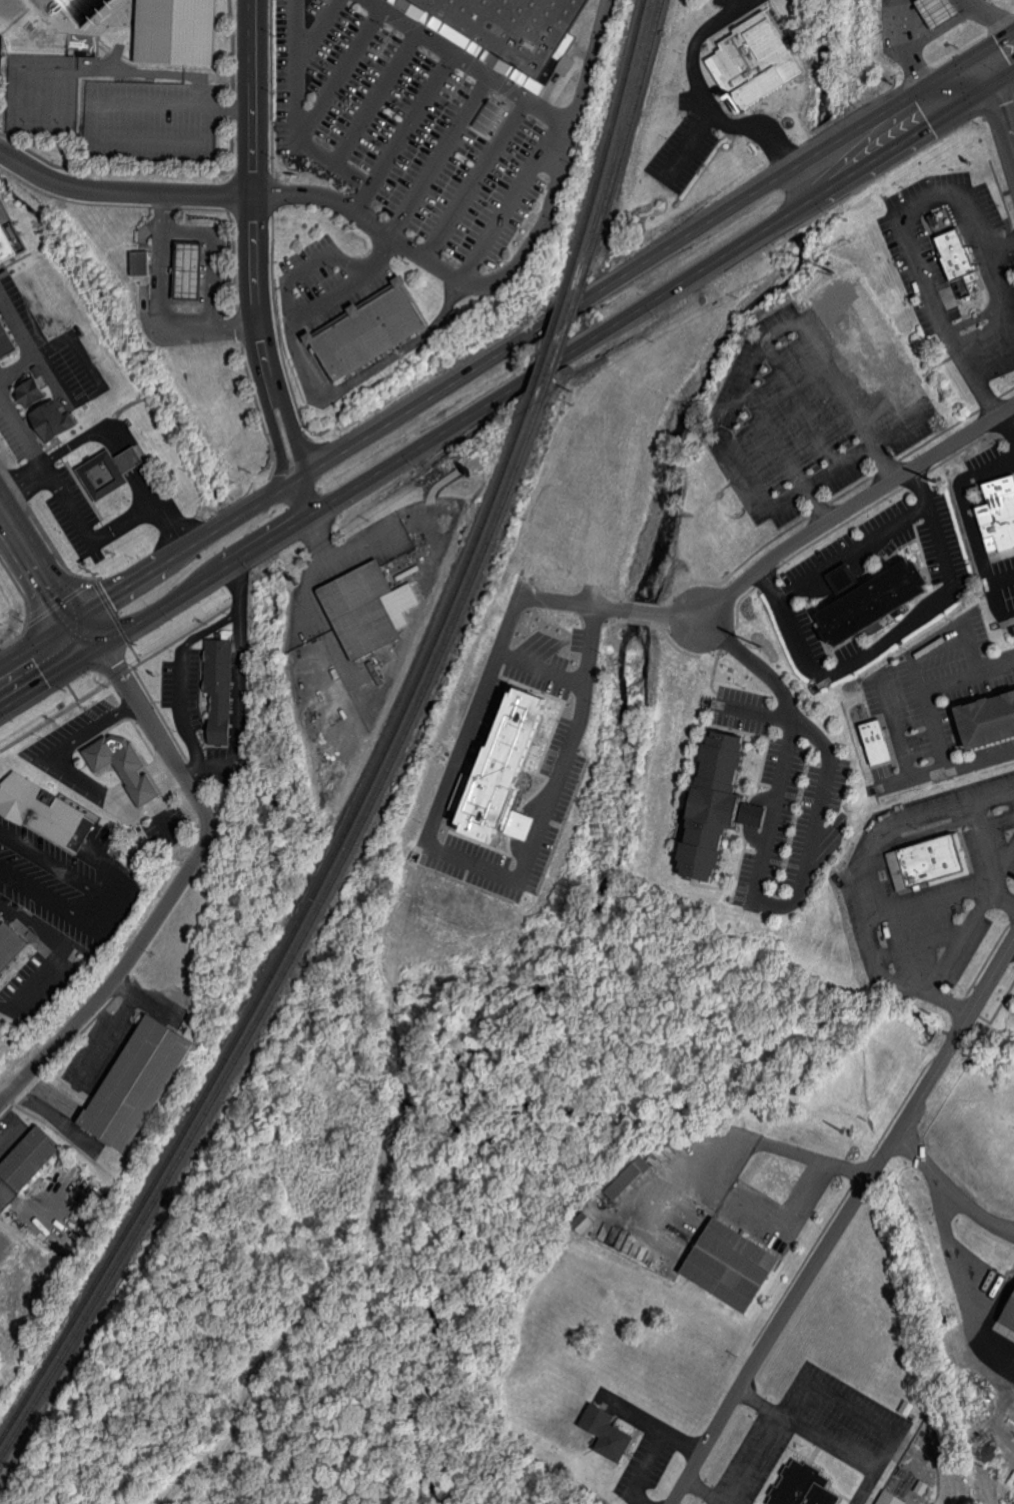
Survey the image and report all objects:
road: (733, 6)
road: (741, 6)
building: (939, 11)
road: (988, 16)
road: (316, 31)
building: (516, 32)
building: (174, 35)
road: (905, 40)
traffic signals: (990, 41)
building: (758, 60)
road: (590, 64)
road: (340, 73)
road: (1002, 81)
traffic signals: (1002, 81)
road: (377, 96)
road: (297, 113)
parking lot: (150, 116)
road: (722, 117)
building: (493, 118)
parking lot: (409, 124)
road: (405, 132)
railway: (607, 140)
railway: (624, 142)
road: (443, 156)
road: (120, 194)
road: (513, 199)
road: (541, 227)
building: (9, 241)
road: (249, 242)
road: (917, 247)
building: (955, 255)
building: (142, 263)
building: (195, 269)
road: (1003, 290)
road: (161, 305)
road: (296, 313)
building: (372, 330)
railway: (550, 335)
building: (7, 339)
railway: (563, 339)
road: (506, 342)
road: (745, 372)
building: (37, 392)
road: (507, 393)
building: (57, 421)
road: (1006, 434)
building: (117, 471)
road: (23, 480)
road: (296, 501)
road: (816, 506)
road: (855, 510)
building: (1001, 512)
road: (76, 514)
road: (974, 529)
road: (857, 547)
road: (48, 580)
building: (871, 601)
building: (372, 608)
traffic signals: (73, 616)
road: (212, 626)
road: (896, 636)
traffic signals: (97, 653)
road: (539, 669)
building: (225, 688)
road: (240, 691)
road: (180, 706)
road: (930, 720)
building: (991, 720)
road: (89, 728)
building: (881, 742)
building: (128, 767)
building: (508, 772)
building: (722, 804)
building: (44, 809)
road: (119, 813)
road: (432, 816)
road: (982, 845)
road: (760, 858)
building: (928, 863)
road: (176, 889)
road: (1004, 895)
road: (930, 898)
road: (98, 903)
railway: (296, 928)
road: (872, 937)
railway: (302, 939)
building: (12, 946)
road: (48, 952)
road: (951, 1006)
road: (112, 1030)
building: (144, 1084)
road: (791, 1153)
road: (925, 1158)
building: (33, 1159)
road: (698, 1161)
building: (625, 1177)
road: (799, 1204)
road: (977, 1209)
building: (580, 1222)
road: (845, 1226)
building: (724, 1265)
road: (962, 1286)
building: (1005, 1312)
road: (187, 1370)
road: (997, 1407)
road: (112, 1430)
building: (600, 1432)
road: (450, 1439)
road: (831, 1439)
road: (657, 1447)
road: (761, 1458)
building: (797, 1486)
road: (715, 1490)
building: (887, 1498)

